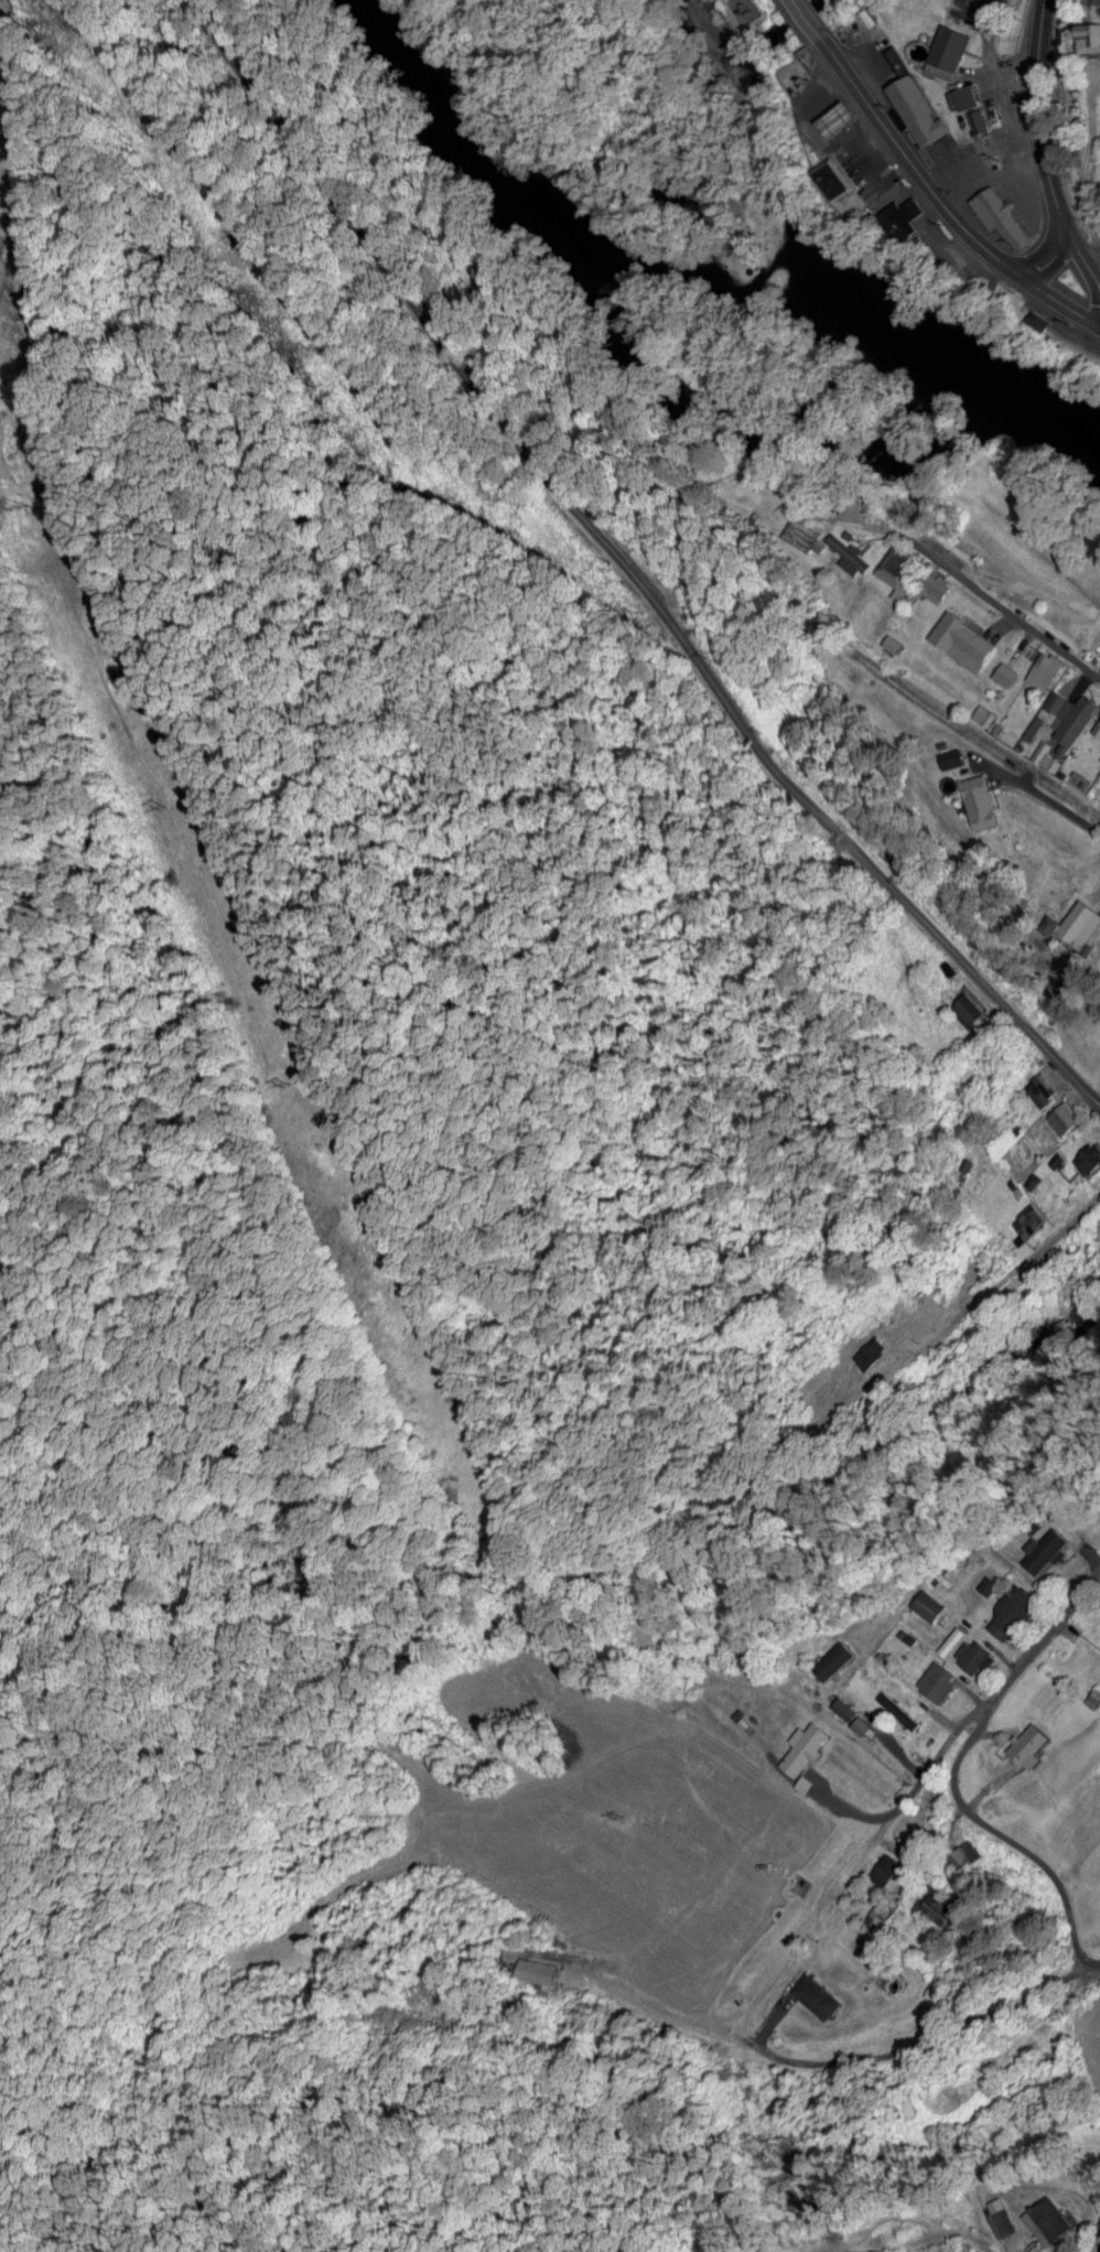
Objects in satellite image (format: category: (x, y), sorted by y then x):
building: (1091, 36)
road: (990, 54)
building: (951, 56)
building: (898, 58)
building: (966, 96)
road: (1031, 101)
building: (921, 119)
building: (842, 129)
gas station: (842, 129)
road: (904, 151)
building: (838, 177)
building: (1003, 213)
building: (905, 216)
road: (1076, 243)
road: (1057, 246)
river: (695, 268)
road: (1066, 301)
building: (853, 553)
building: (897, 564)
road: (589, 582)
building: (938, 586)
road: (1007, 604)
building: (964, 634)
building: (1048, 669)
building: (1071, 714)
building: (981, 801)
building: (1079, 923)
building: (970, 1006)
building: (1044, 1088)
building: (1068, 1117)
building: (1092, 1155)
building: (1032, 1220)
road: (951, 1324)
building: (874, 1350)
building: (1049, 1549)
building: (931, 1604)
building: (1014, 1610)
building: (977, 1655)
building: (837, 1663)
building: (939, 1679)
building: (846, 1707)
building: (1036, 1744)
building: (808, 1746)
road: (961, 1787)
power tower: (622, 1811)
building: (918, 1825)
building: (964, 1857)
building: (889, 1868)
building: (945, 1905)
building: (539, 1970)
building: (822, 1994)
road: (610, 1998)
road: (917, 2065)
building: (1004, 2215)
building: (1053, 2220)
road: (1099, 2250)

